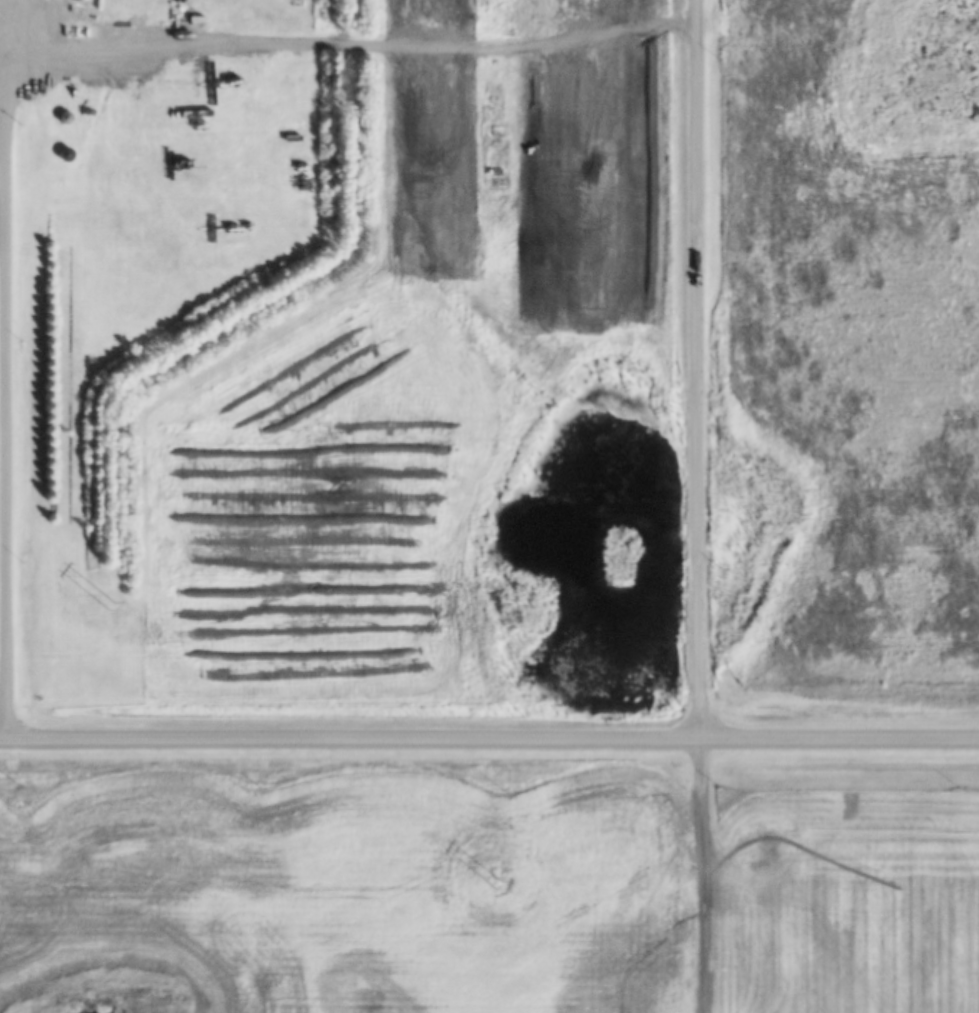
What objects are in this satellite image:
building: (75, 0)
silo: (75, 0)
road: (13, 52)
building: (66, 118)
silo: (66, 118)
building: (67, 154)
silo: (67, 154)
road: (700, 372)
power tower: (105, 602)
road: (489, 744)
road: (706, 878)
power tower: (493, 892)

